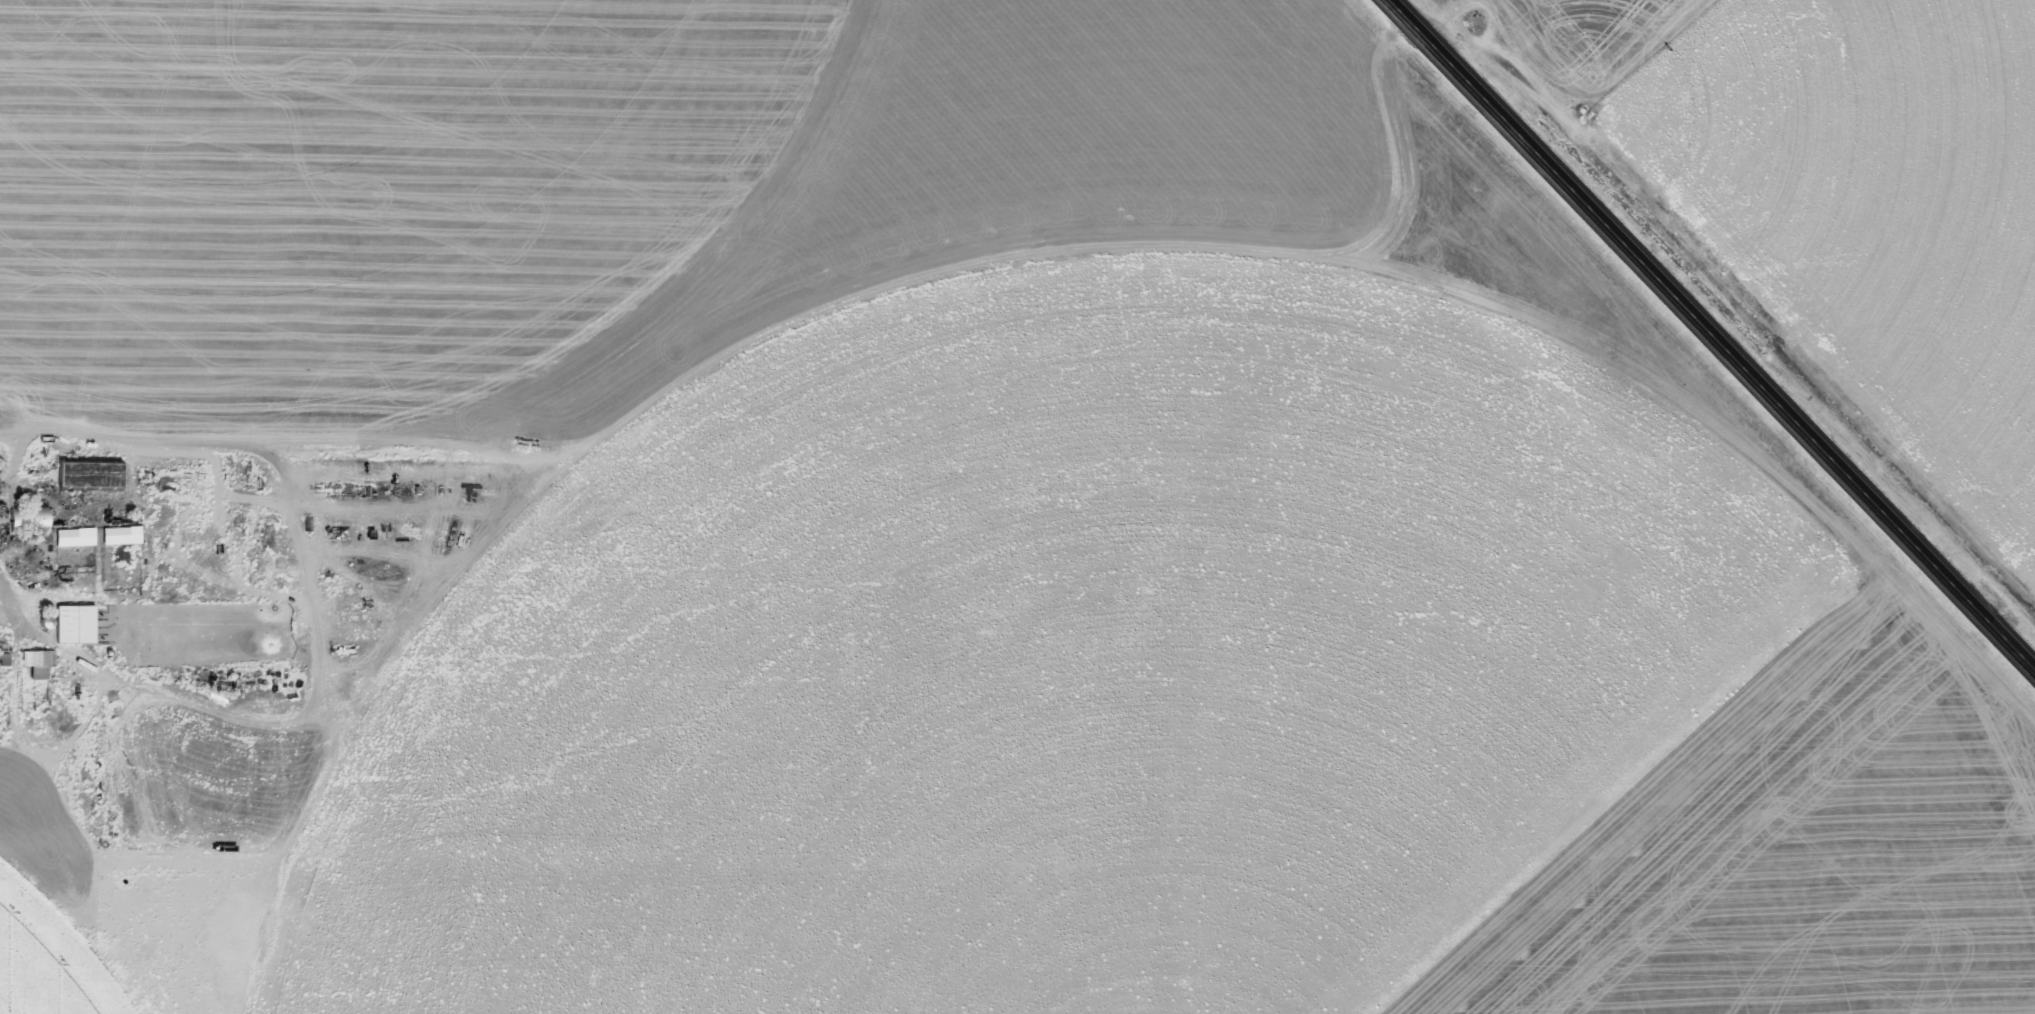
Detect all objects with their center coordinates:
road: (1713, 332)
building: (123, 535)
building: (77, 537)

